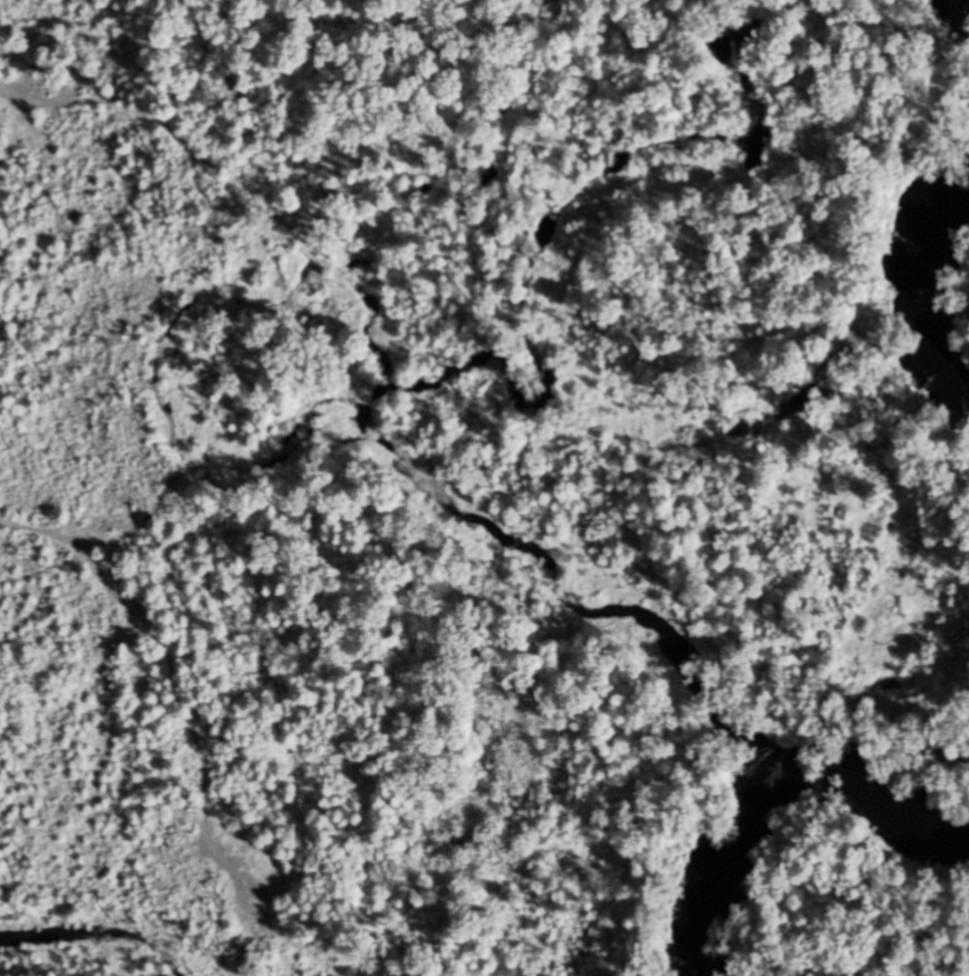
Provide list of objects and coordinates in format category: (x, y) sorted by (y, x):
river: (920, 394)

